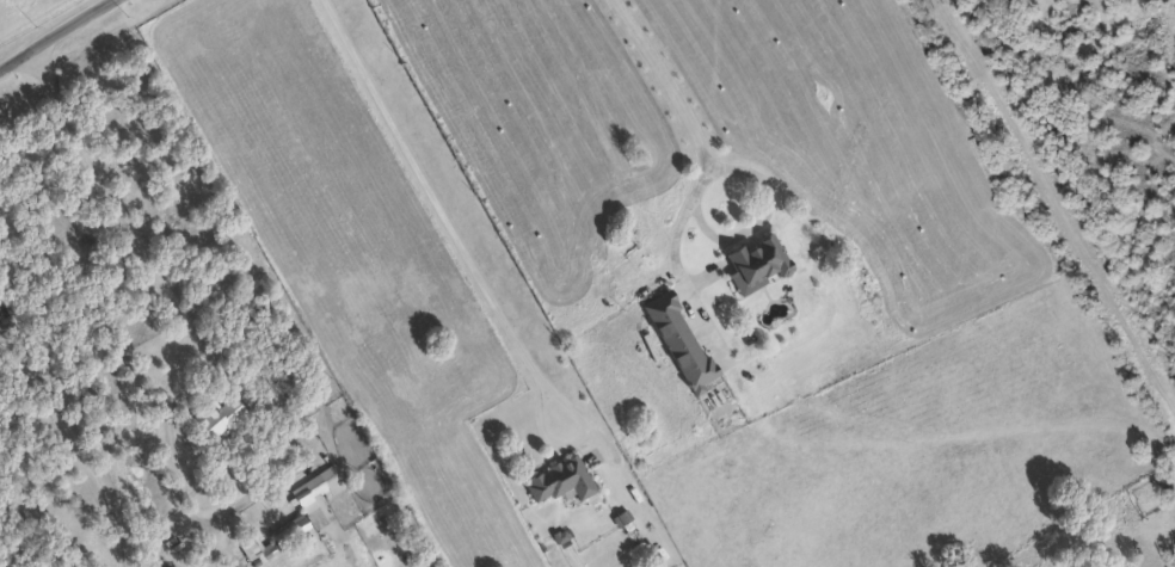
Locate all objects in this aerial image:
road: (59, 36)
road: (709, 158)
road: (432, 193)
road: (768, 215)
building: (755, 261)
road: (160, 271)
building: (677, 340)
building: (216, 417)
building: (558, 479)
building: (306, 492)
building: (293, 532)
building: (252, 546)

